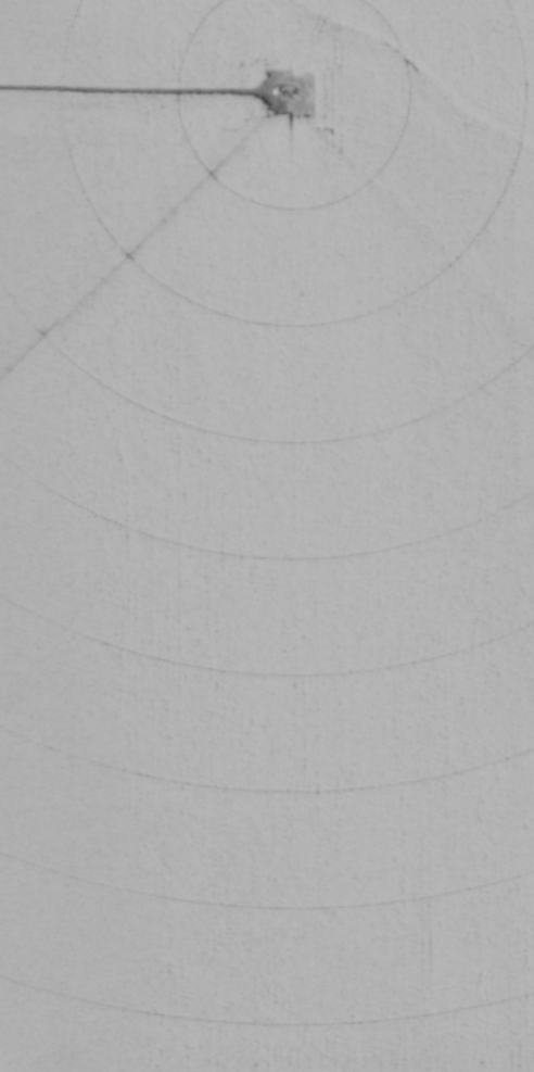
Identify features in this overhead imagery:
building: (342, 780)
building: (357, 1045)

